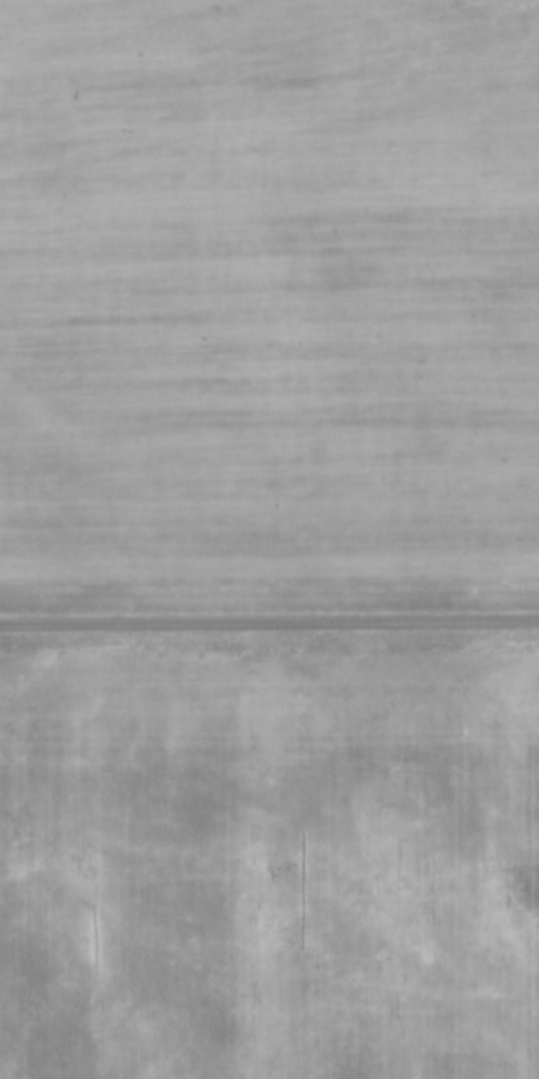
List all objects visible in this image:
road: (269, 625)

